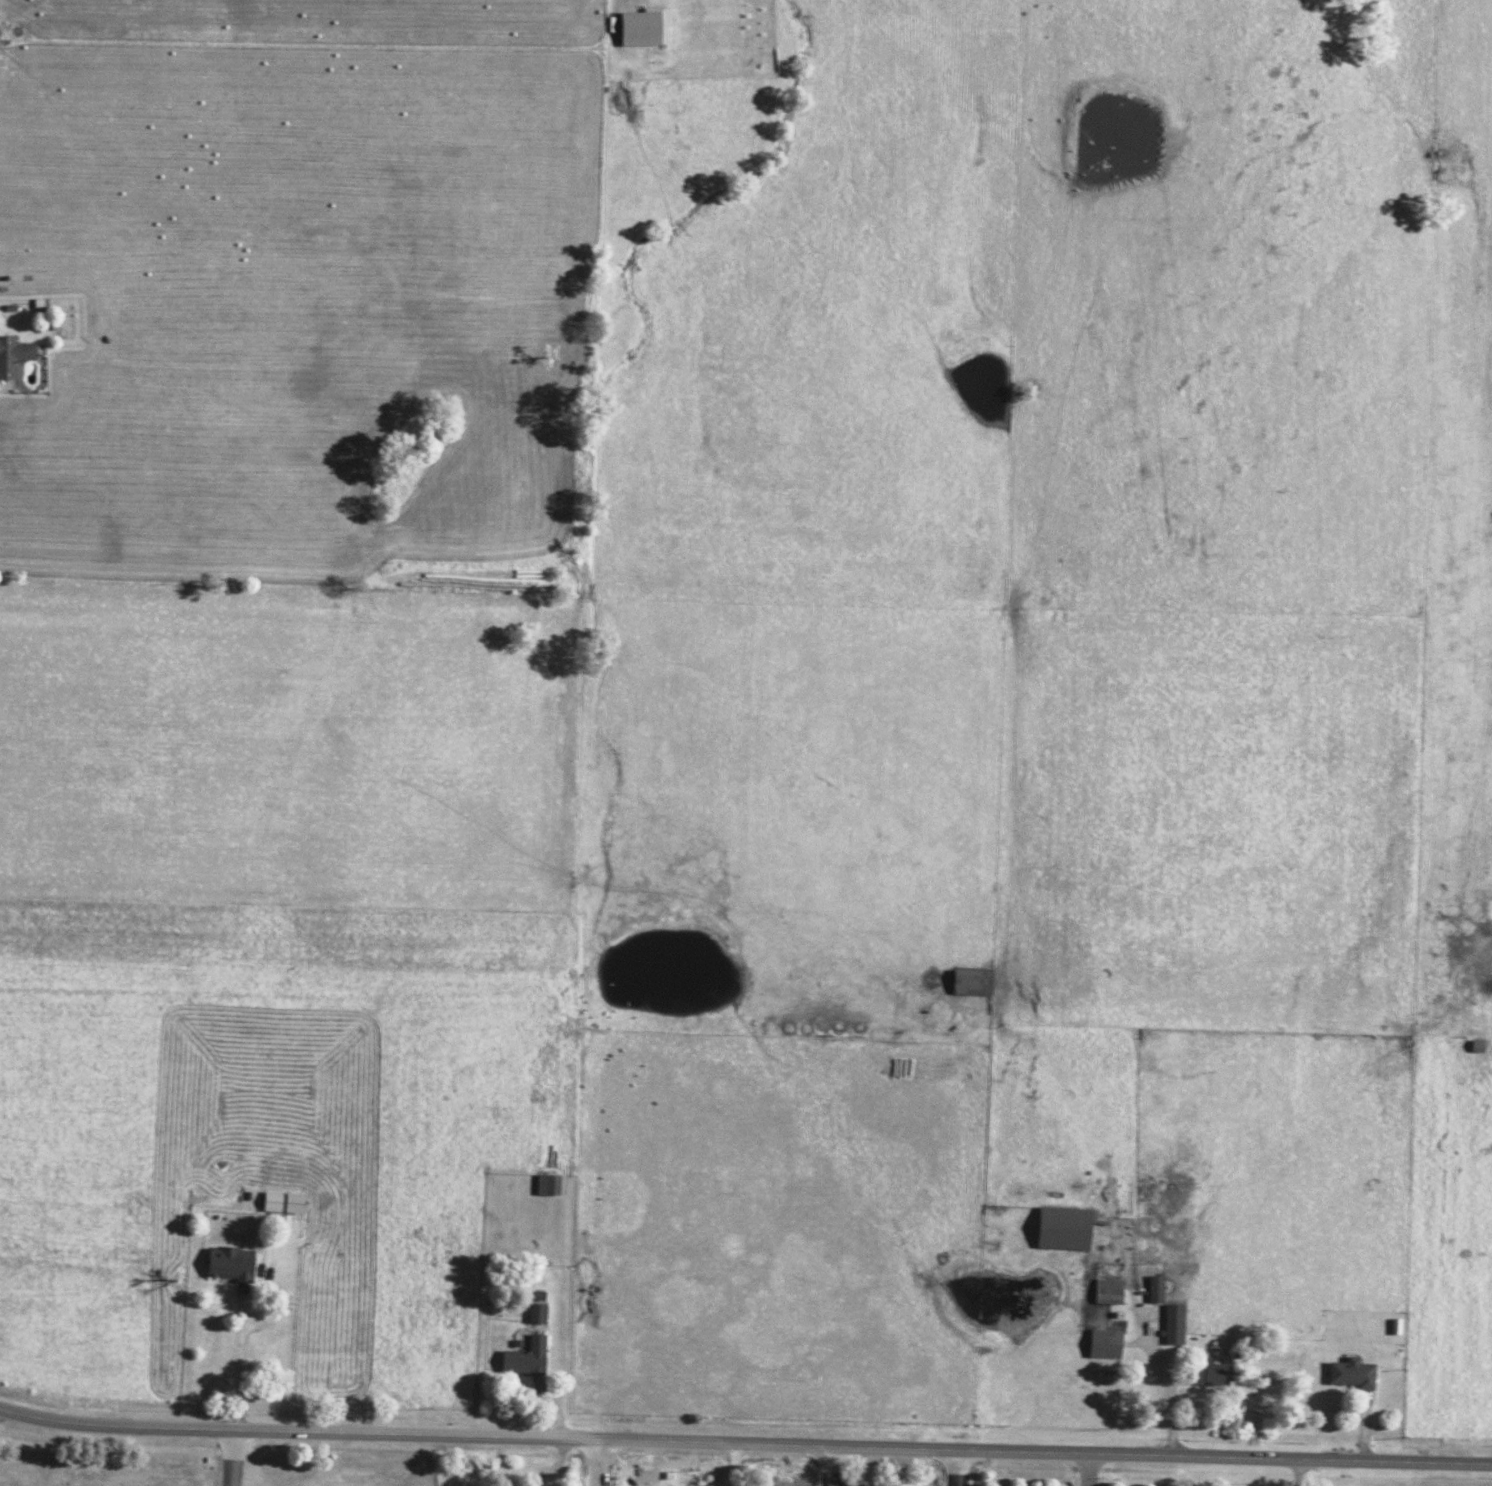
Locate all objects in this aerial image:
building: (642, 28)
building: (13, 356)
building: (971, 983)
building: (547, 1185)
building: (282, 1203)
building: (1062, 1229)
building: (229, 1264)
building: (1154, 1289)
building: (1107, 1292)
building: (536, 1314)
building: (1173, 1324)
building: (1104, 1344)
building: (525, 1358)
building: (1209, 1374)
building: (1351, 1374)
road: (745, 1445)
road: (1086, 1470)

